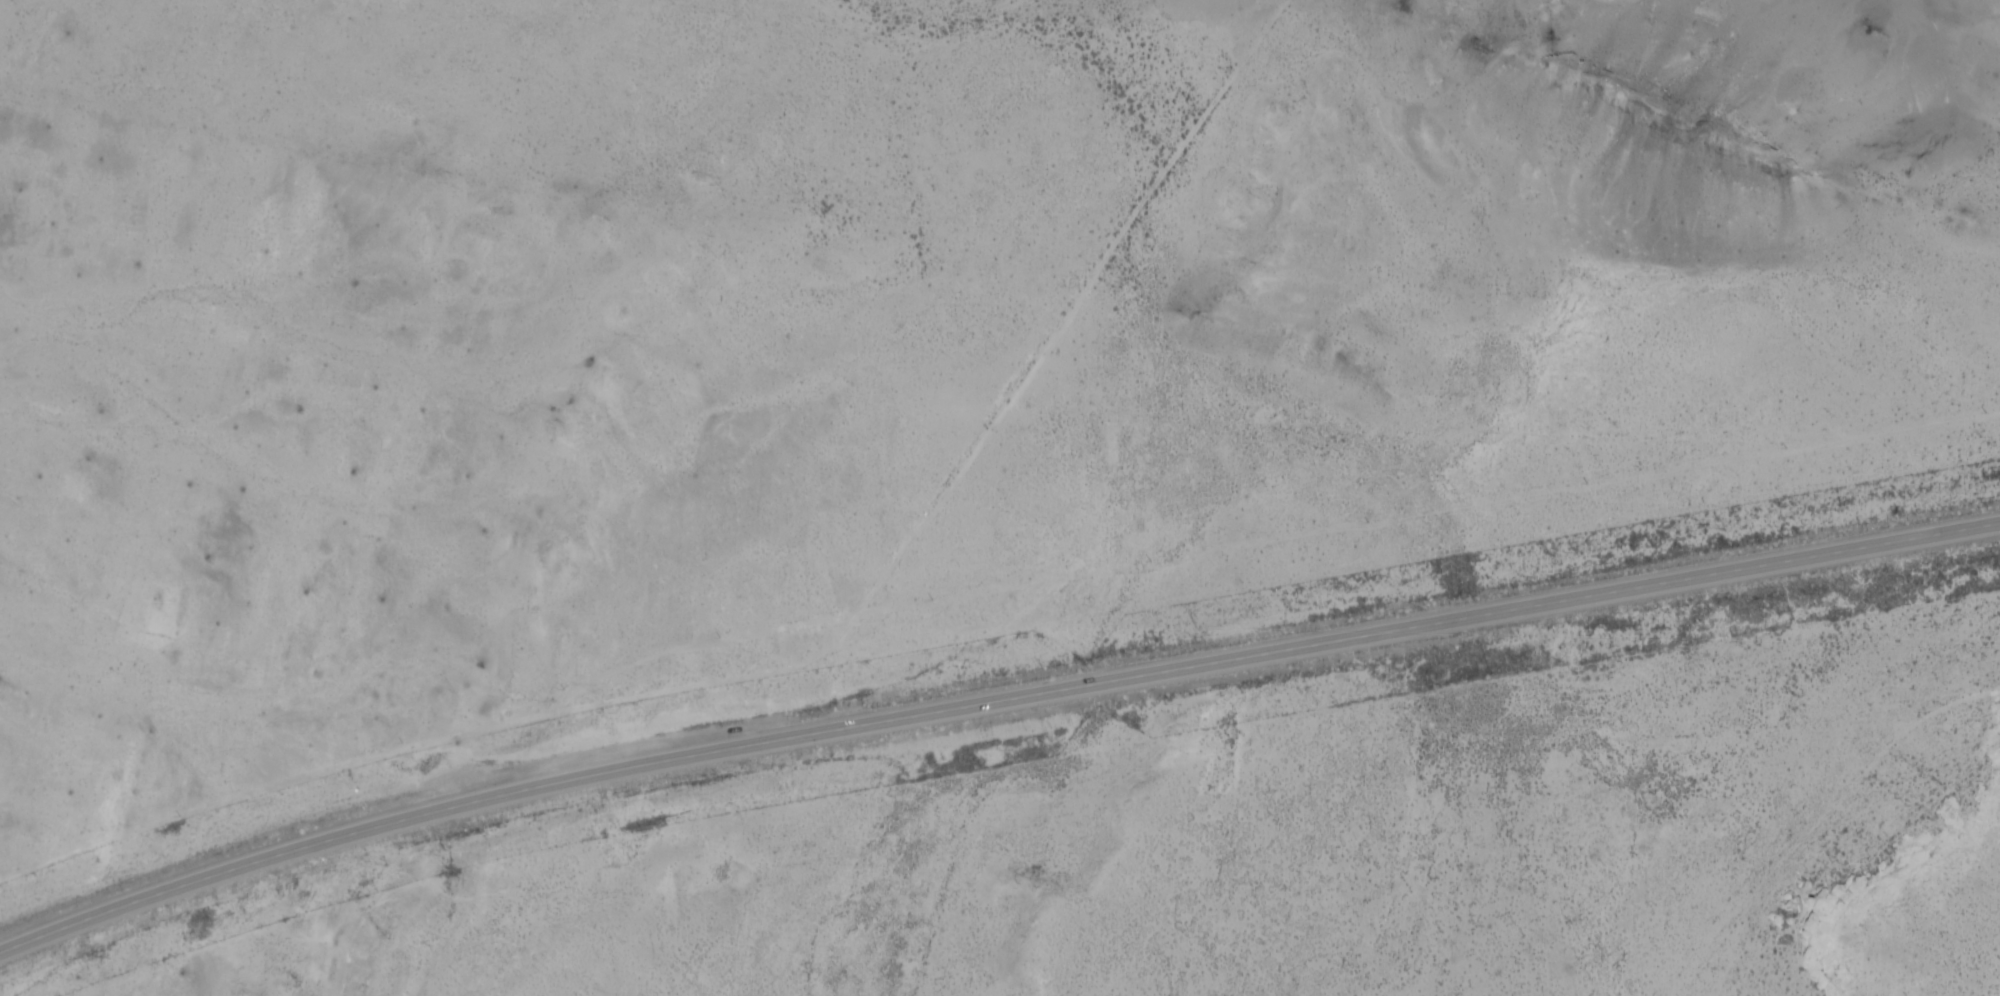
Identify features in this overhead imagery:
road: (1015, 351)
road: (990, 699)

